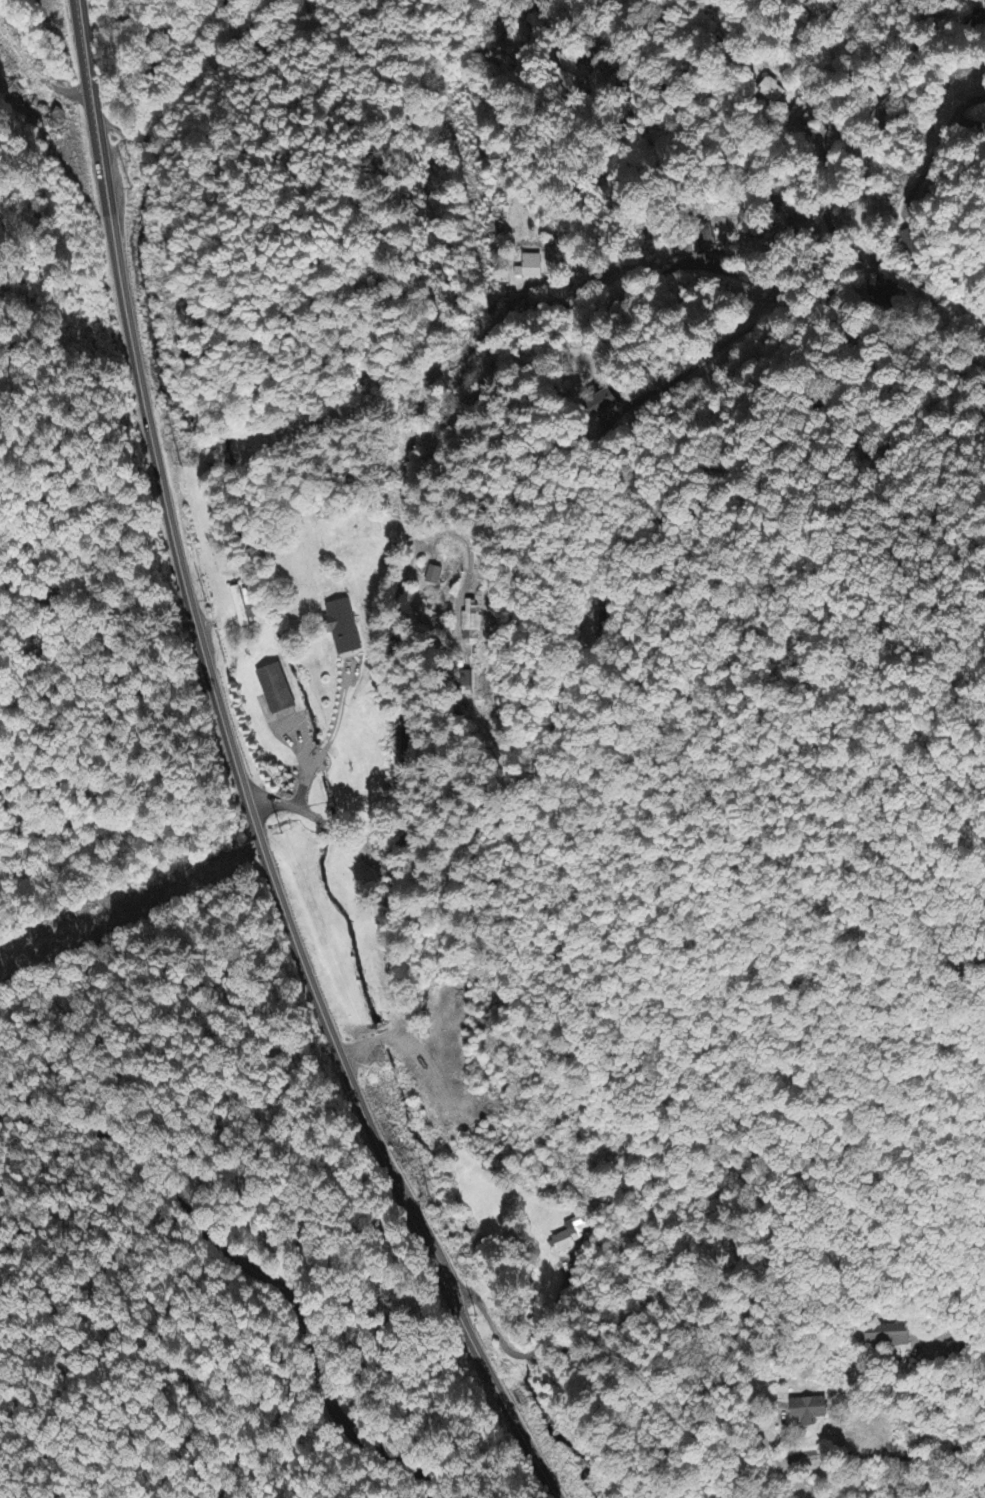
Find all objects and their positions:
road: (216, 76)
building: (770, 93)
building: (706, 240)
building: (910, 245)
building: (530, 269)
road: (472, 347)
building: (601, 405)
road: (178, 567)
building: (432, 577)
building: (242, 607)
building: (469, 624)
building: (340, 628)
building: (274, 691)
building: (568, 1238)
road: (250, 1271)
road: (453, 1308)
road: (960, 1336)
building: (887, 1337)
building: (807, 1412)
road: (862, 1456)

